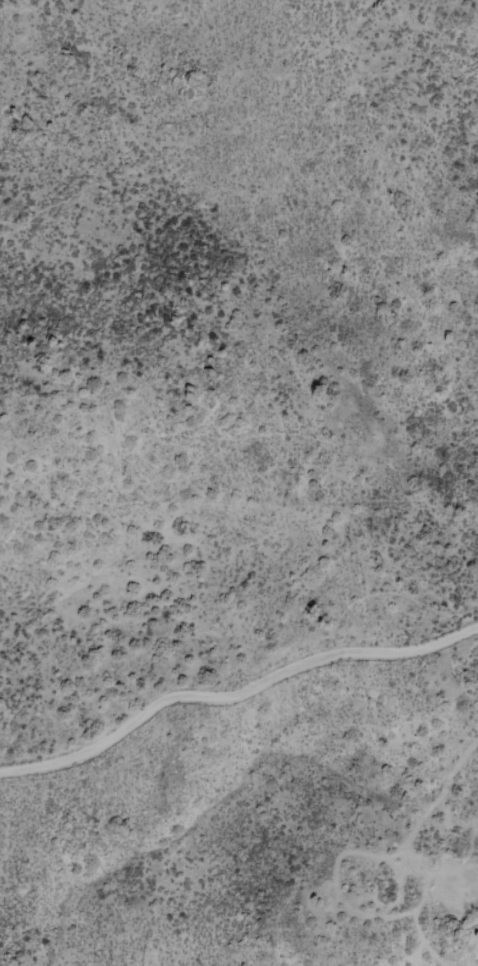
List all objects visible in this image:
road: (235, 693)

